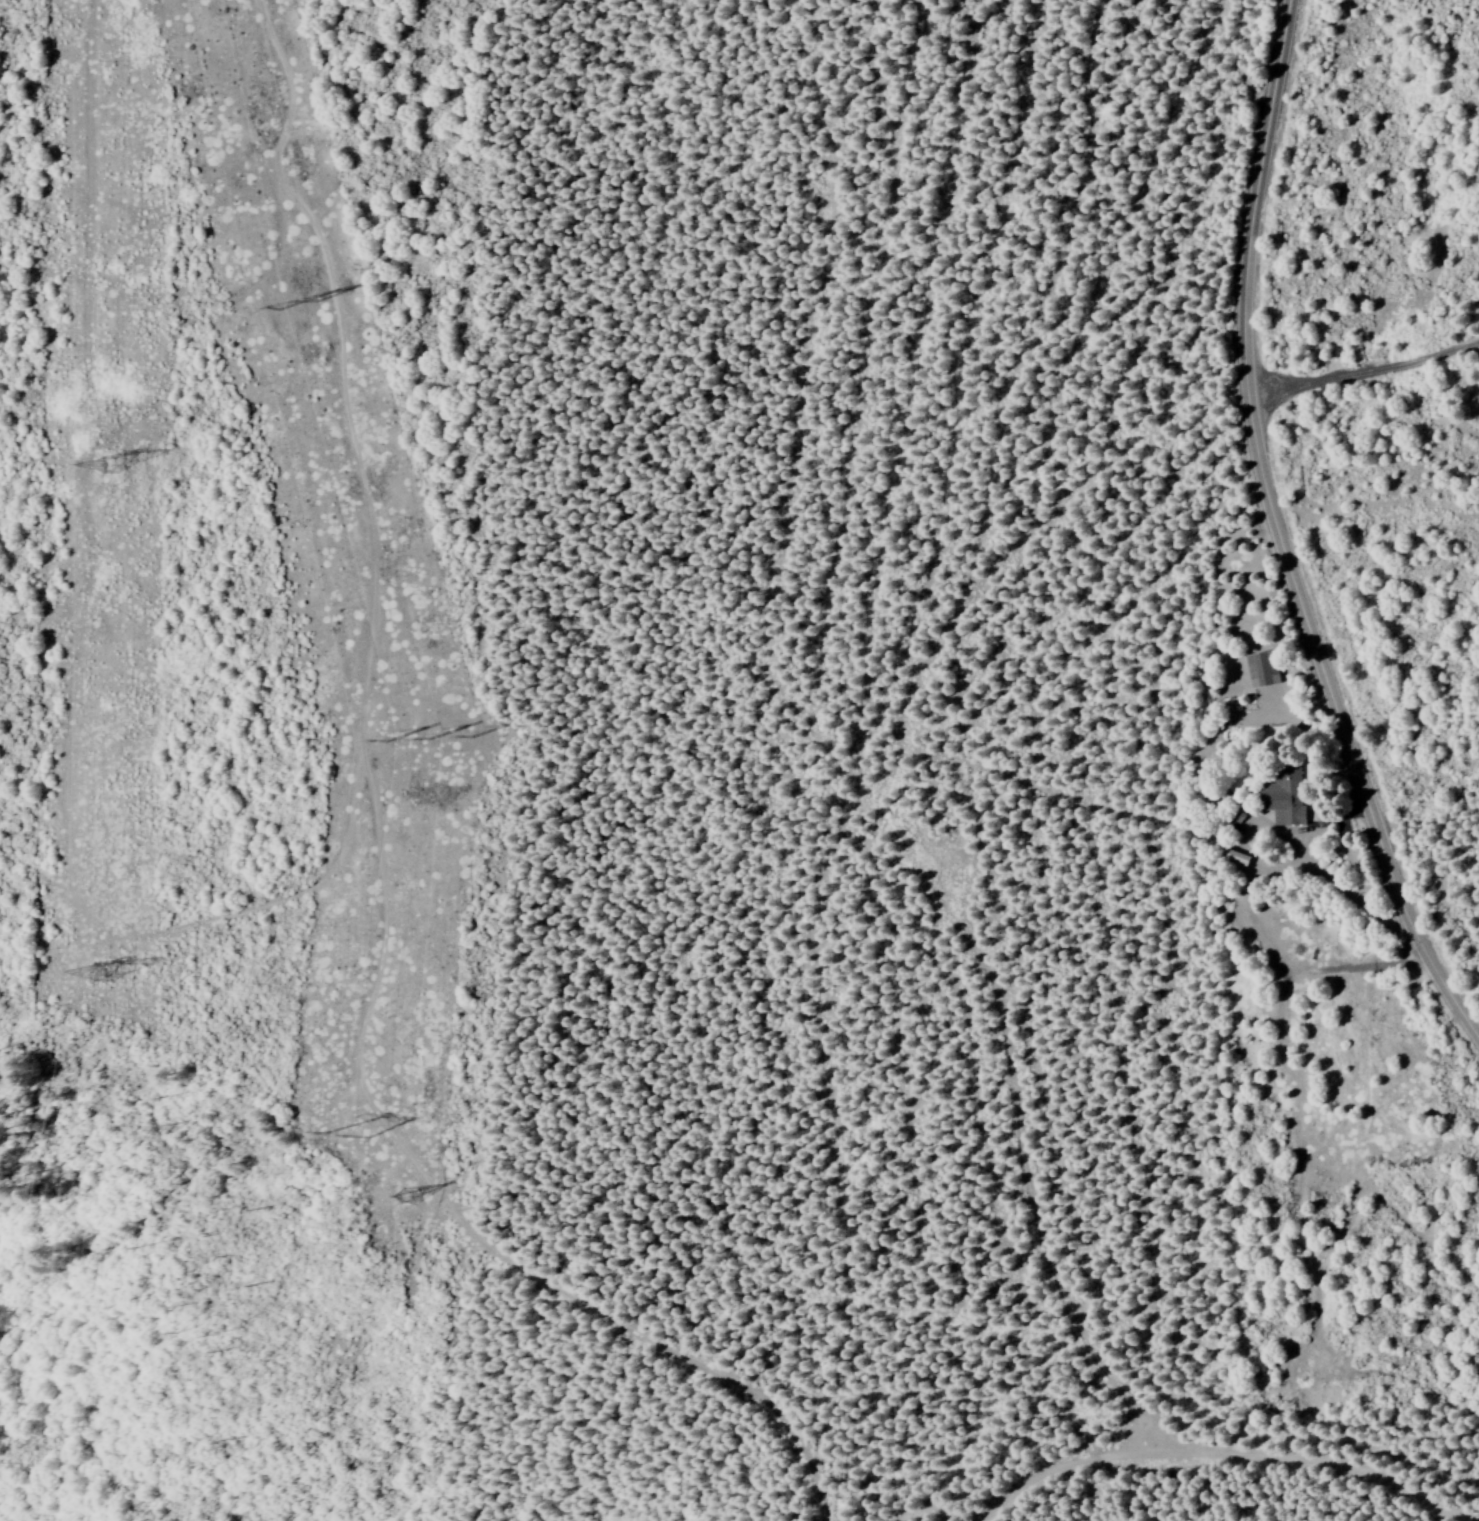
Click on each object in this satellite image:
power tower: (327, 283)
power tower: (133, 470)
road: (1281, 538)
building: (1257, 668)
power tower: (437, 729)
building: (1279, 794)
building: (1246, 822)
power tower: (126, 966)
power tower: (376, 1122)

